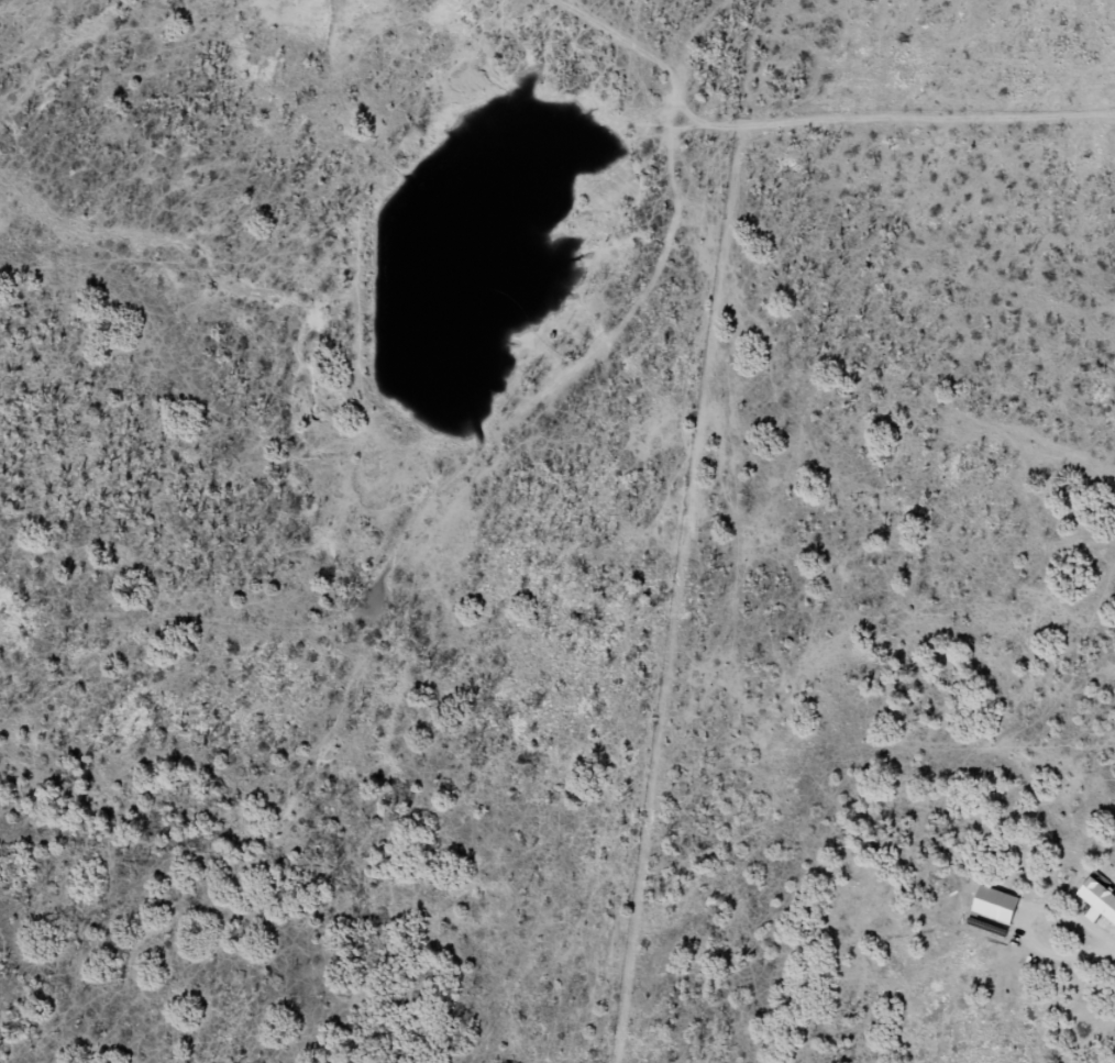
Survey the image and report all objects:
building: (1097, 898)
building: (994, 905)

